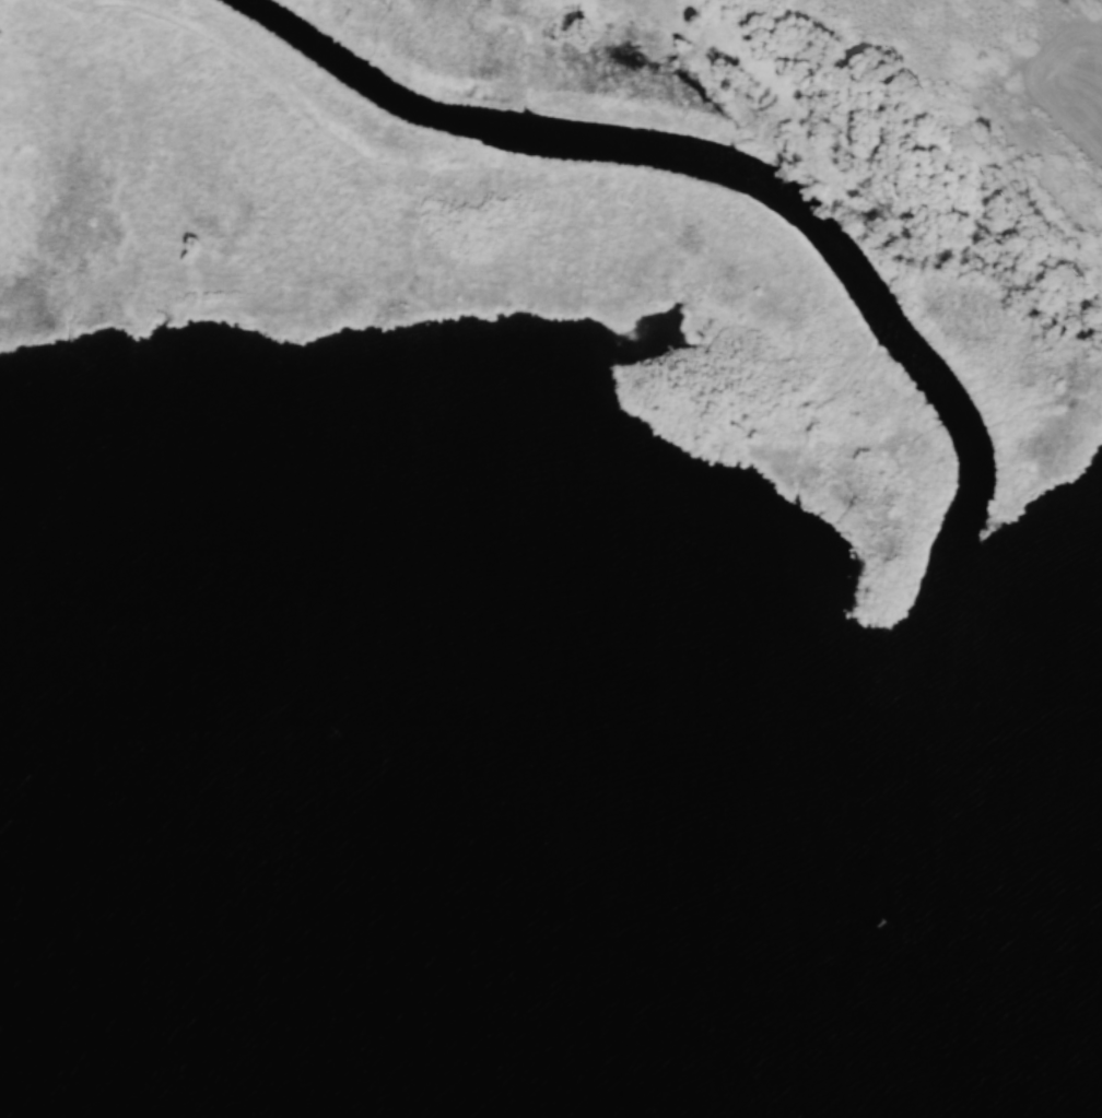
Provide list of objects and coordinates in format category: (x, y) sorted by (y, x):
river: (921, 360)
park: (613, 1004)

